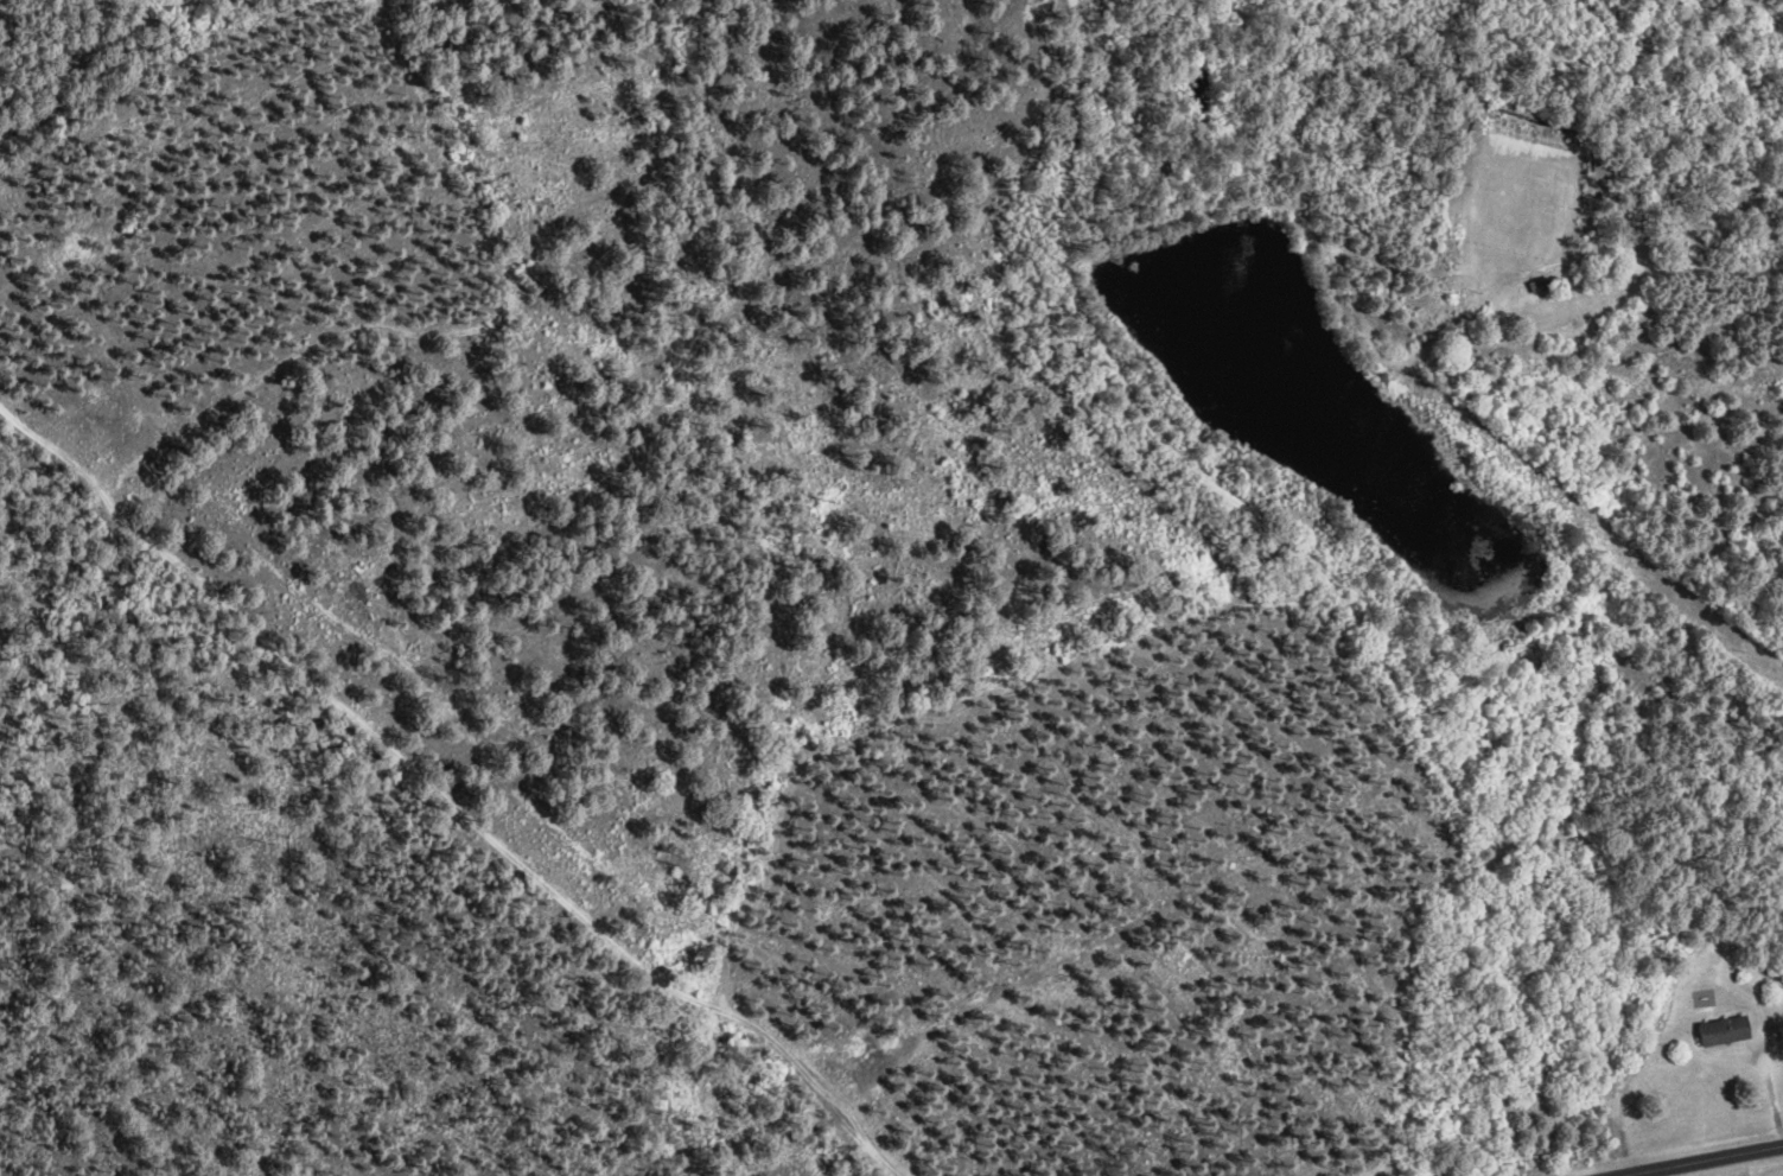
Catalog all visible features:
road: (1668, 234)
building: (1721, 1029)
road: (1707, 1161)

